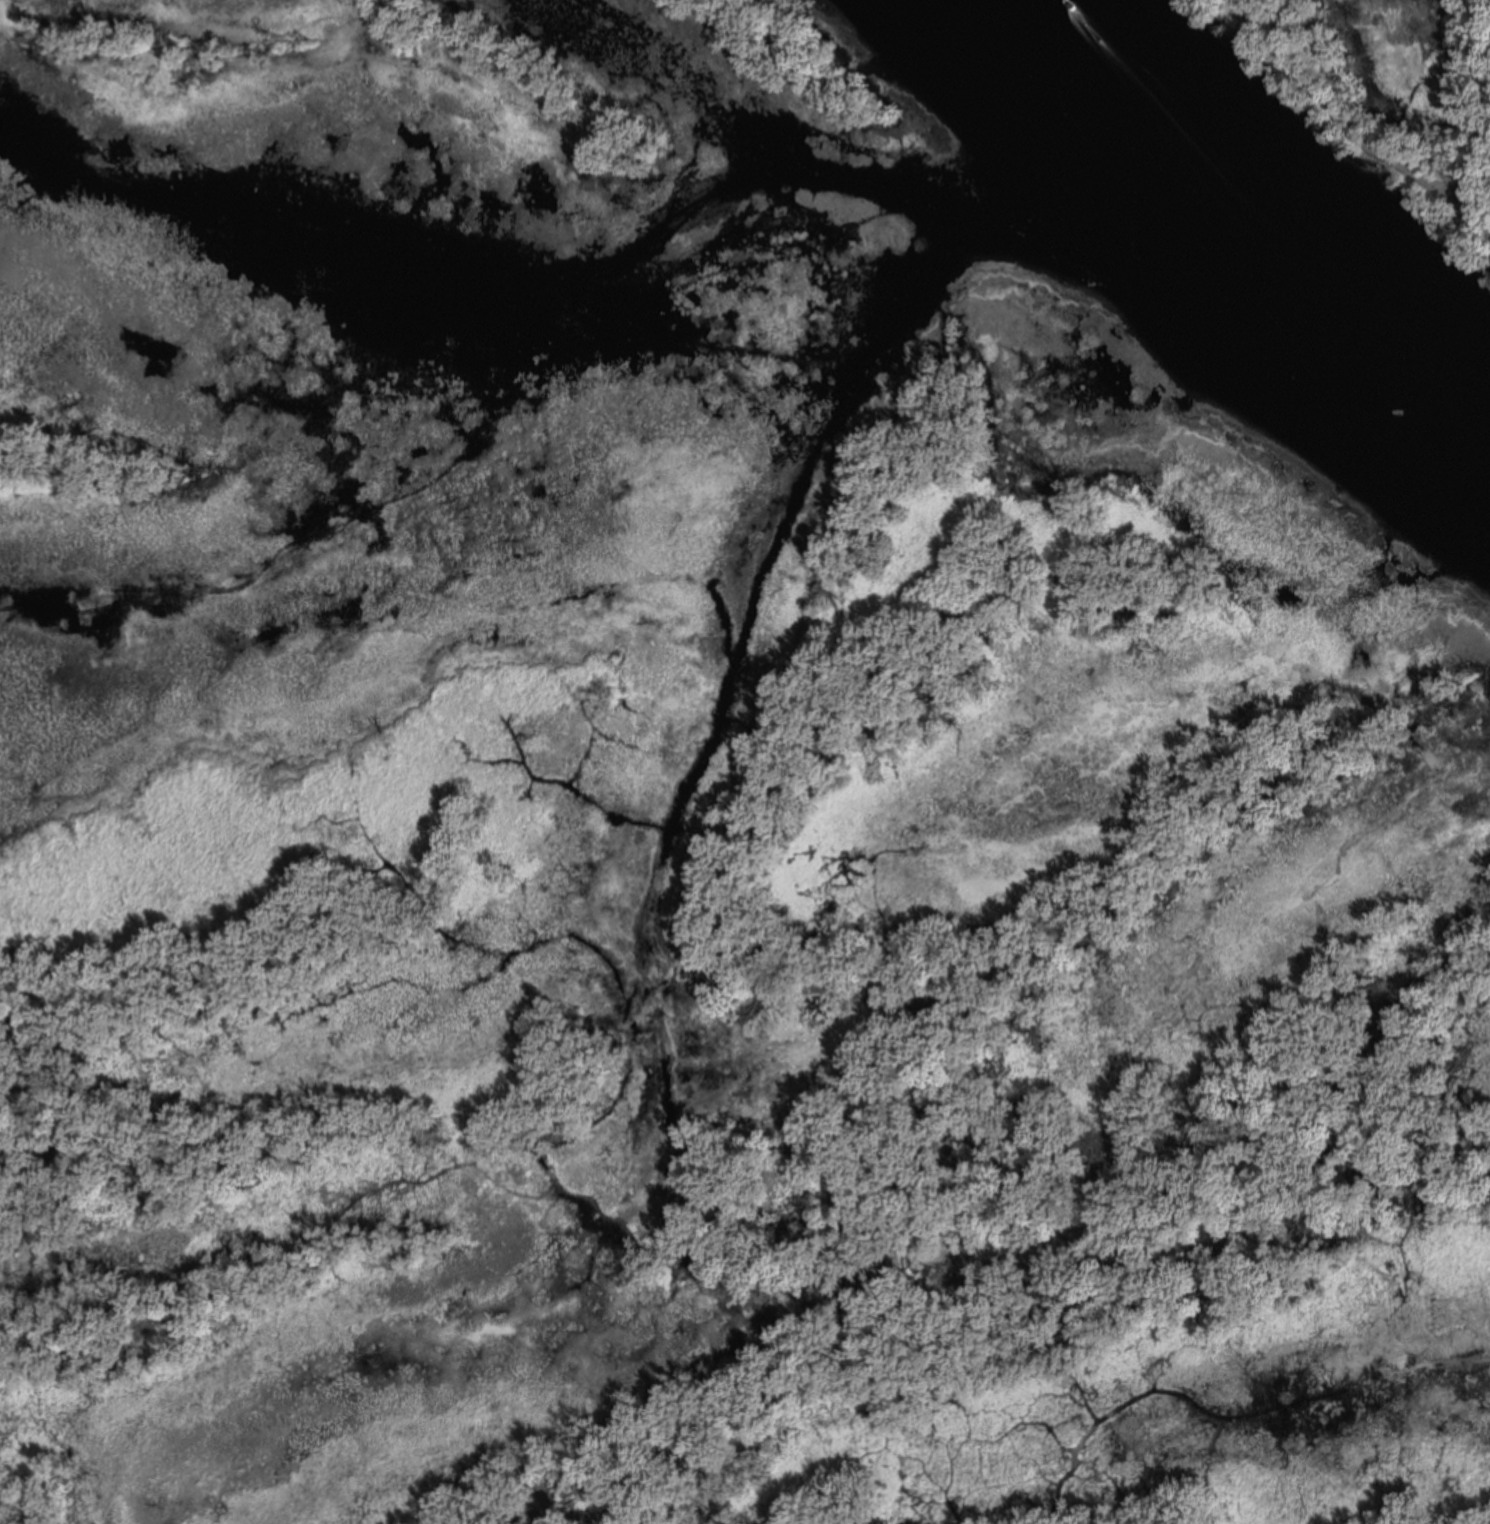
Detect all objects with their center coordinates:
road: (1488, 11)
road: (1351, 132)

